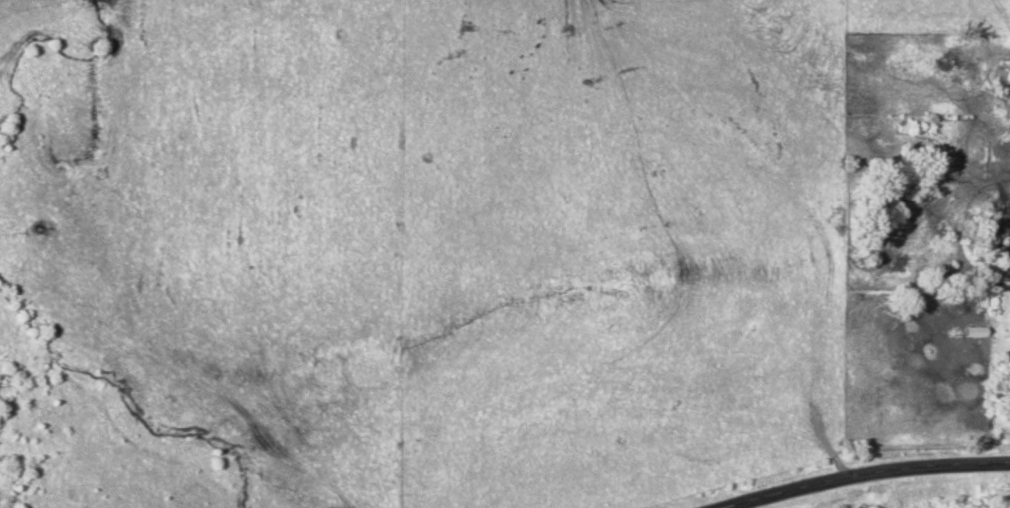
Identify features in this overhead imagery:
road: (864, 472)

